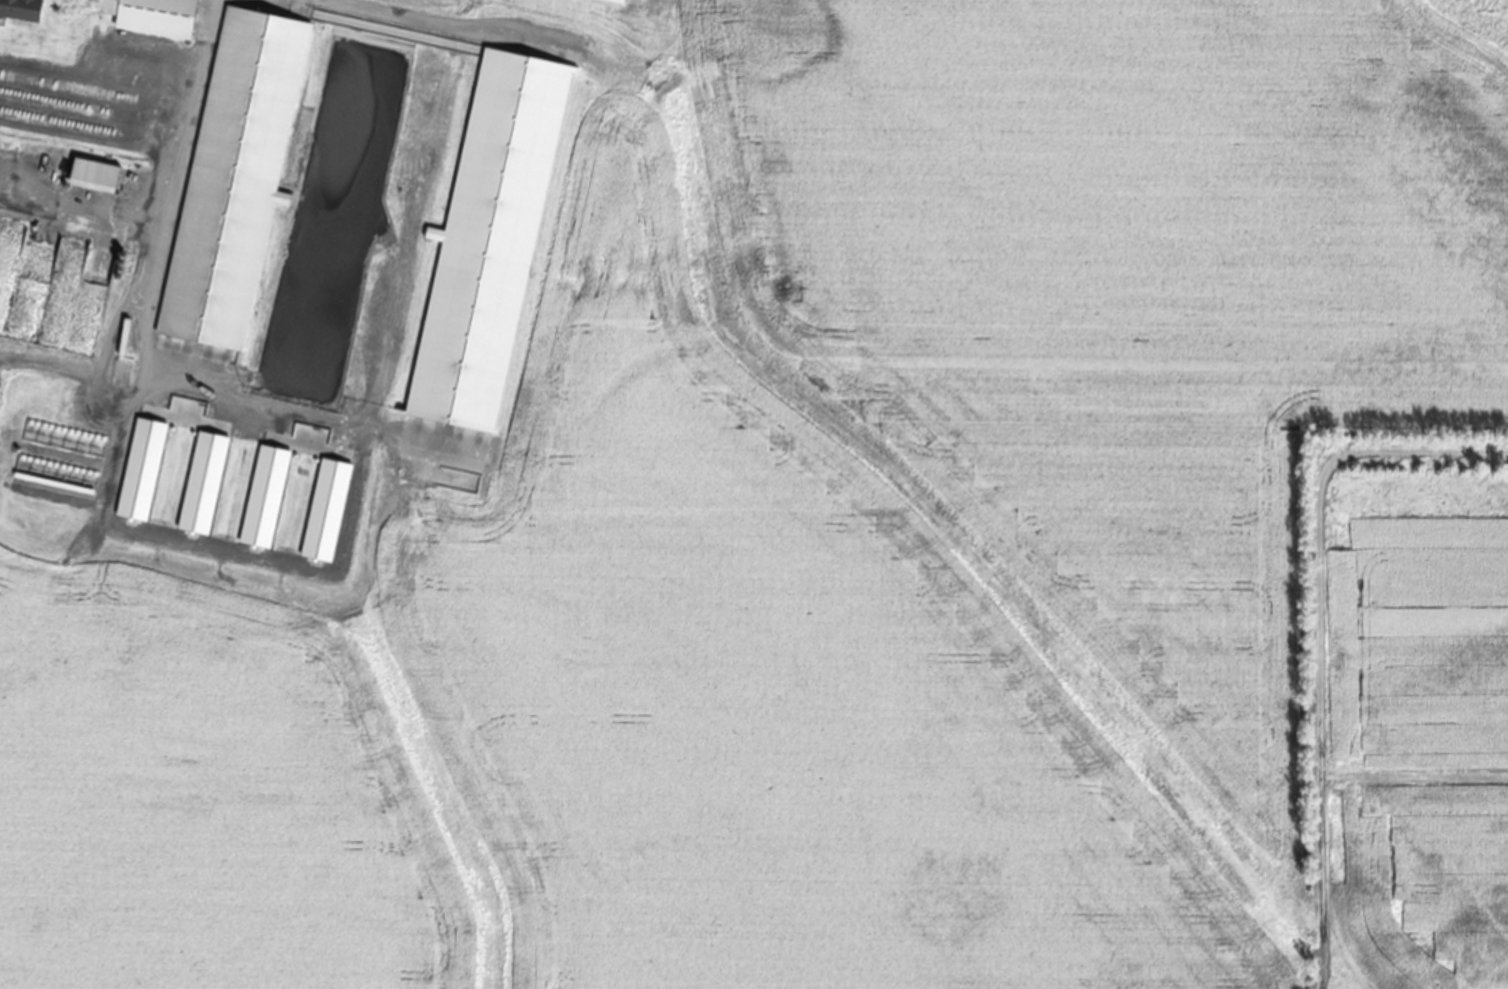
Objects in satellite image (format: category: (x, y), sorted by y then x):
building: (20, 10)
building: (149, 10)
building: (250, 95)

